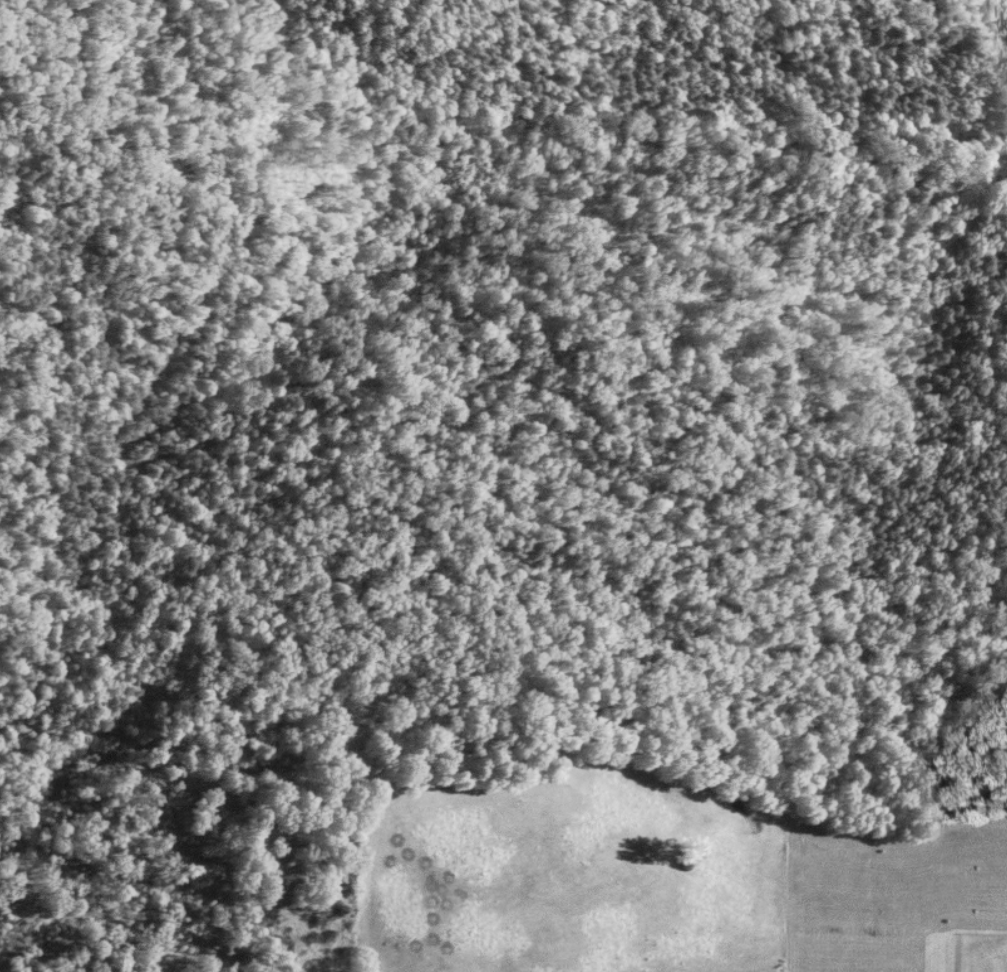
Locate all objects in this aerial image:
park: (980, 952)

